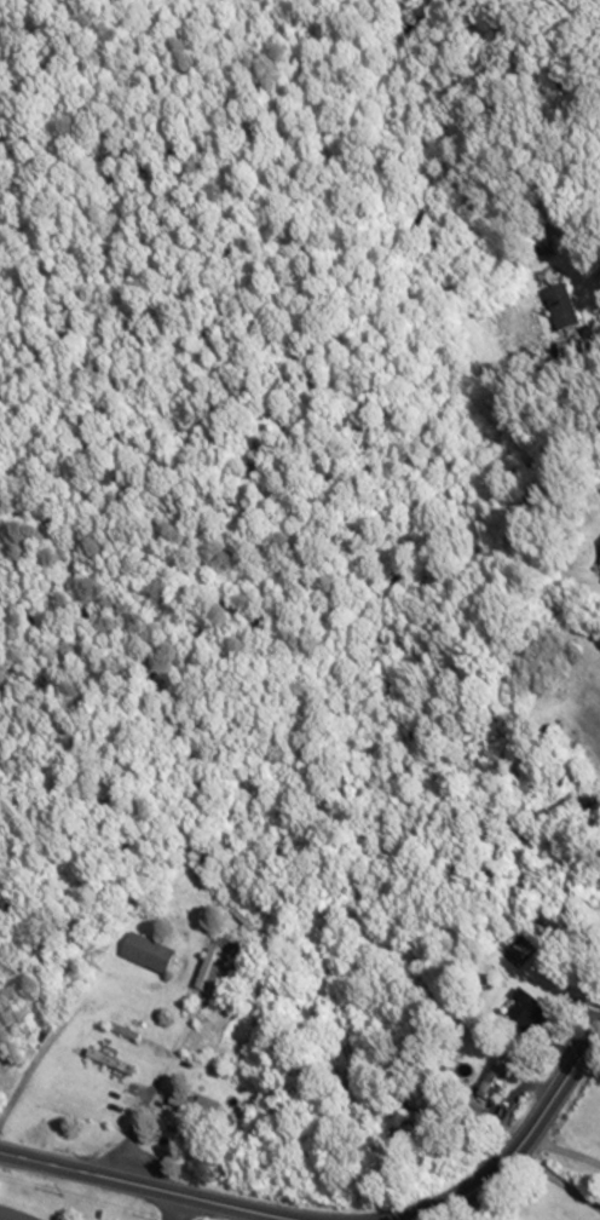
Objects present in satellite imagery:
building: (562, 312)
road: (577, 769)
building: (581, 812)
building: (200, 864)
building: (149, 957)
building: (526, 1013)
building: (111, 1063)
building: (484, 1076)
road: (142, 1094)
road: (564, 1150)
road: (518, 1151)
road: (558, 1180)
road: (158, 1187)
road: (175, 1205)
road: (10, 1214)

